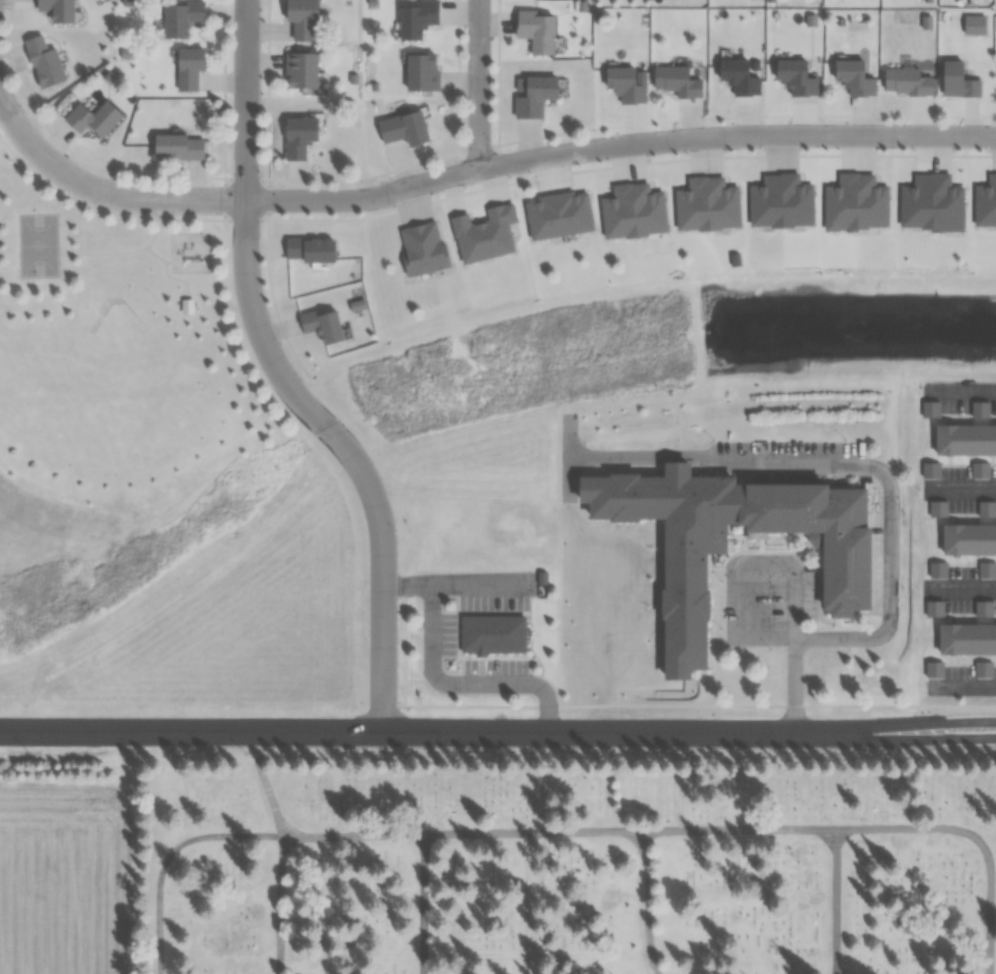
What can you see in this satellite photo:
building: (56, 9)
building: (180, 17)
building: (417, 18)
building: (300, 19)
building: (535, 30)
building: (43, 62)
building: (188, 68)
building: (301, 70)
building: (421, 72)
building: (737, 76)
building: (795, 77)
building: (853, 78)
building: (676, 81)
building: (906, 81)
building: (957, 81)
road: (478, 84)
building: (624, 85)
building: (533, 95)
building: (62, 106)
building: (93, 119)
building: (402, 129)
building: (299, 136)
road: (619, 143)
building: (178, 146)
road: (105, 190)
park: (39, 243)
building: (421, 247)
building: (308, 249)
building: (186, 305)
building: (320, 325)
park: (120, 342)
road: (284, 379)
road: (961, 391)
building: (964, 441)
road: (867, 466)
road: (960, 490)
building: (813, 533)
building: (971, 534)
building: (937, 569)
building: (986, 569)
road: (794, 580)
road: (961, 591)
road: (746, 599)
building: (983, 609)
building: (491, 633)
building: (966, 638)
road: (770, 639)
building: (934, 669)
building: (983, 669)
road: (794, 687)
road: (961, 688)
road: (938, 726)
road: (130, 731)
road: (570, 734)
road: (938, 736)
street lamp: (31, 749)
street lamp: (245, 750)
road: (266, 785)
road: (738, 830)
road: (532, 832)
road: (353, 835)
road: (974, 837)
road: (169, 856)
road: (527, 865)
park: (566, 866)
road: (476, 897)
road: (835, 901)
road: (650, 903)
road: (423, 904)
road: (282, 905)
road: (527, 927)
road: (589, 954)
road: (475, 956)
road: (352, 957)
road: (527, 965)

